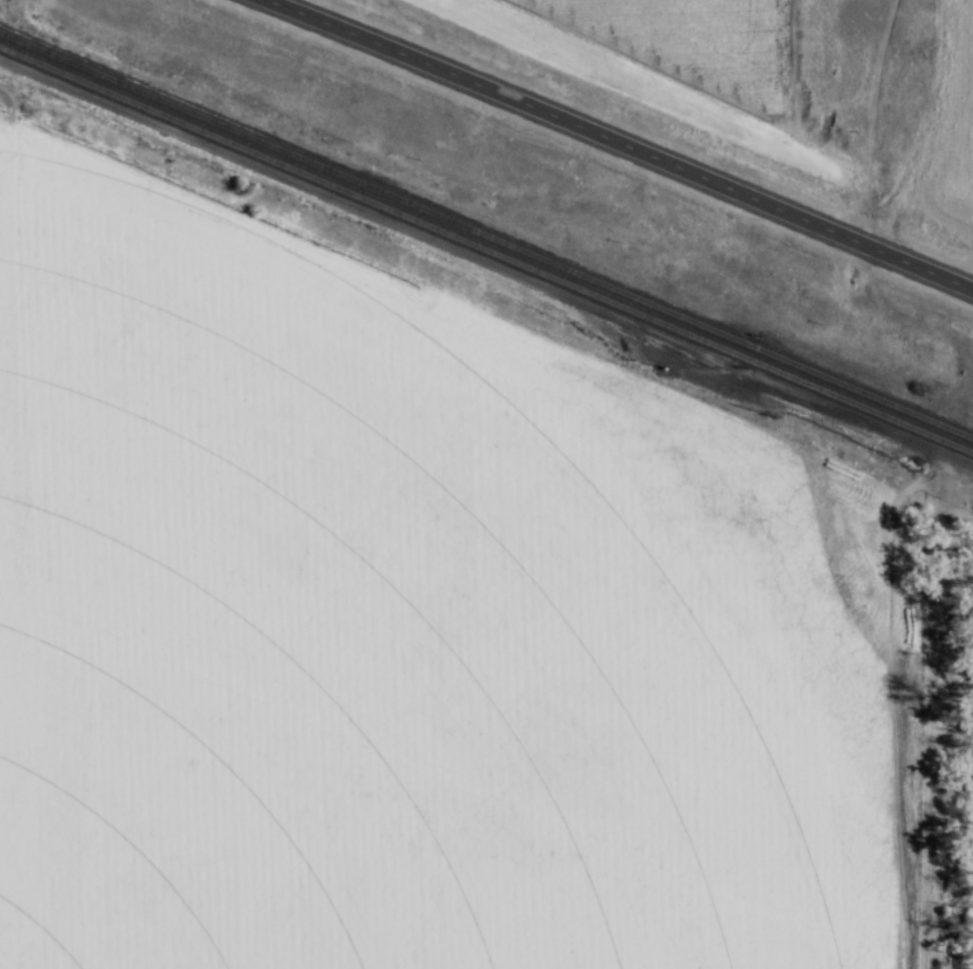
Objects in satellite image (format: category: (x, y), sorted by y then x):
road: (620, 143)
railway: (486, 234)
railway: (486, 249)

